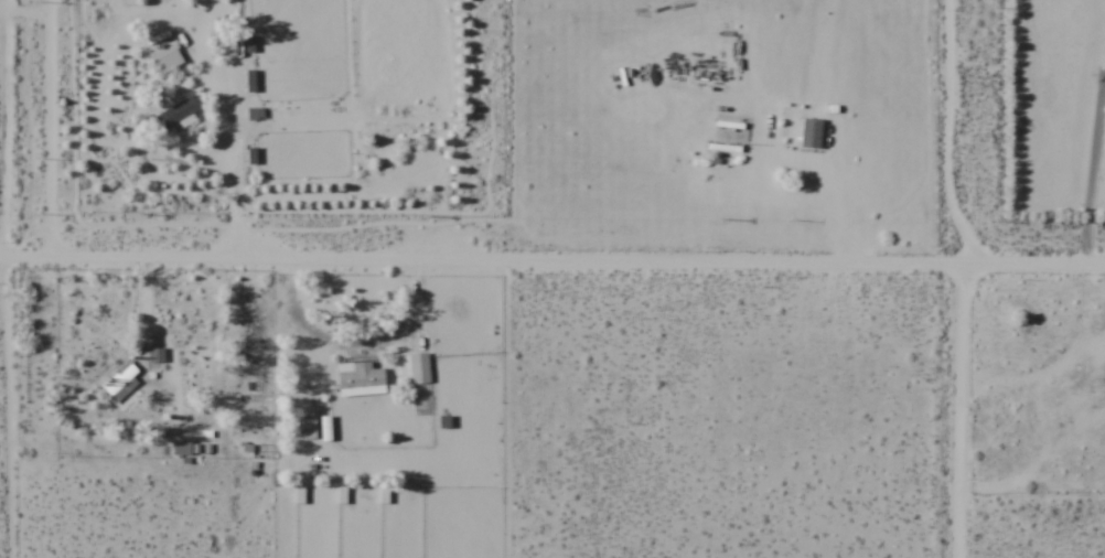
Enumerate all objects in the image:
building: (223, 47)
road: (947, 52)
building: (175, 112)
building: (811, 133)
building: (256, 155)
road: (947, 189)
road: (552, 265)
road: (2, 278)
building: (418, 367)
building: (119, 378)
building: (358, 378)
building: (1099, 380)
road: (957, 411)

